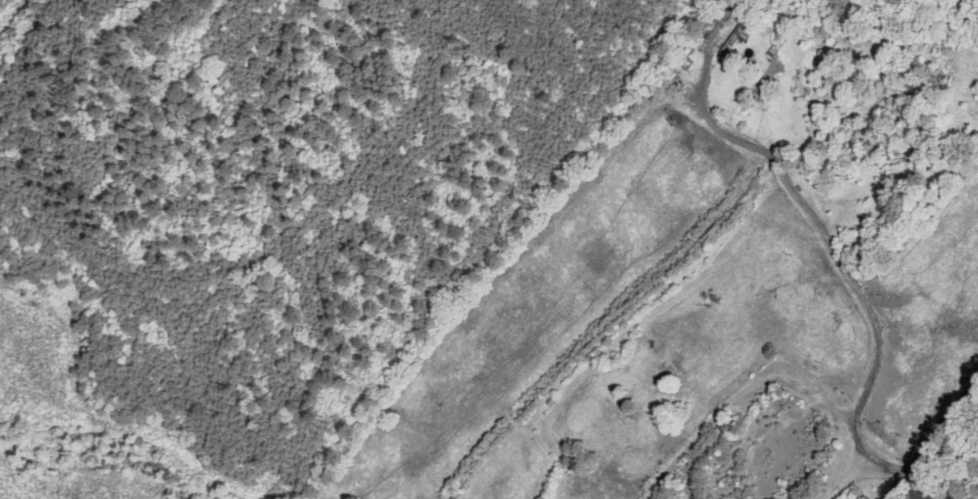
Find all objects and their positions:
road: (926, 437)

